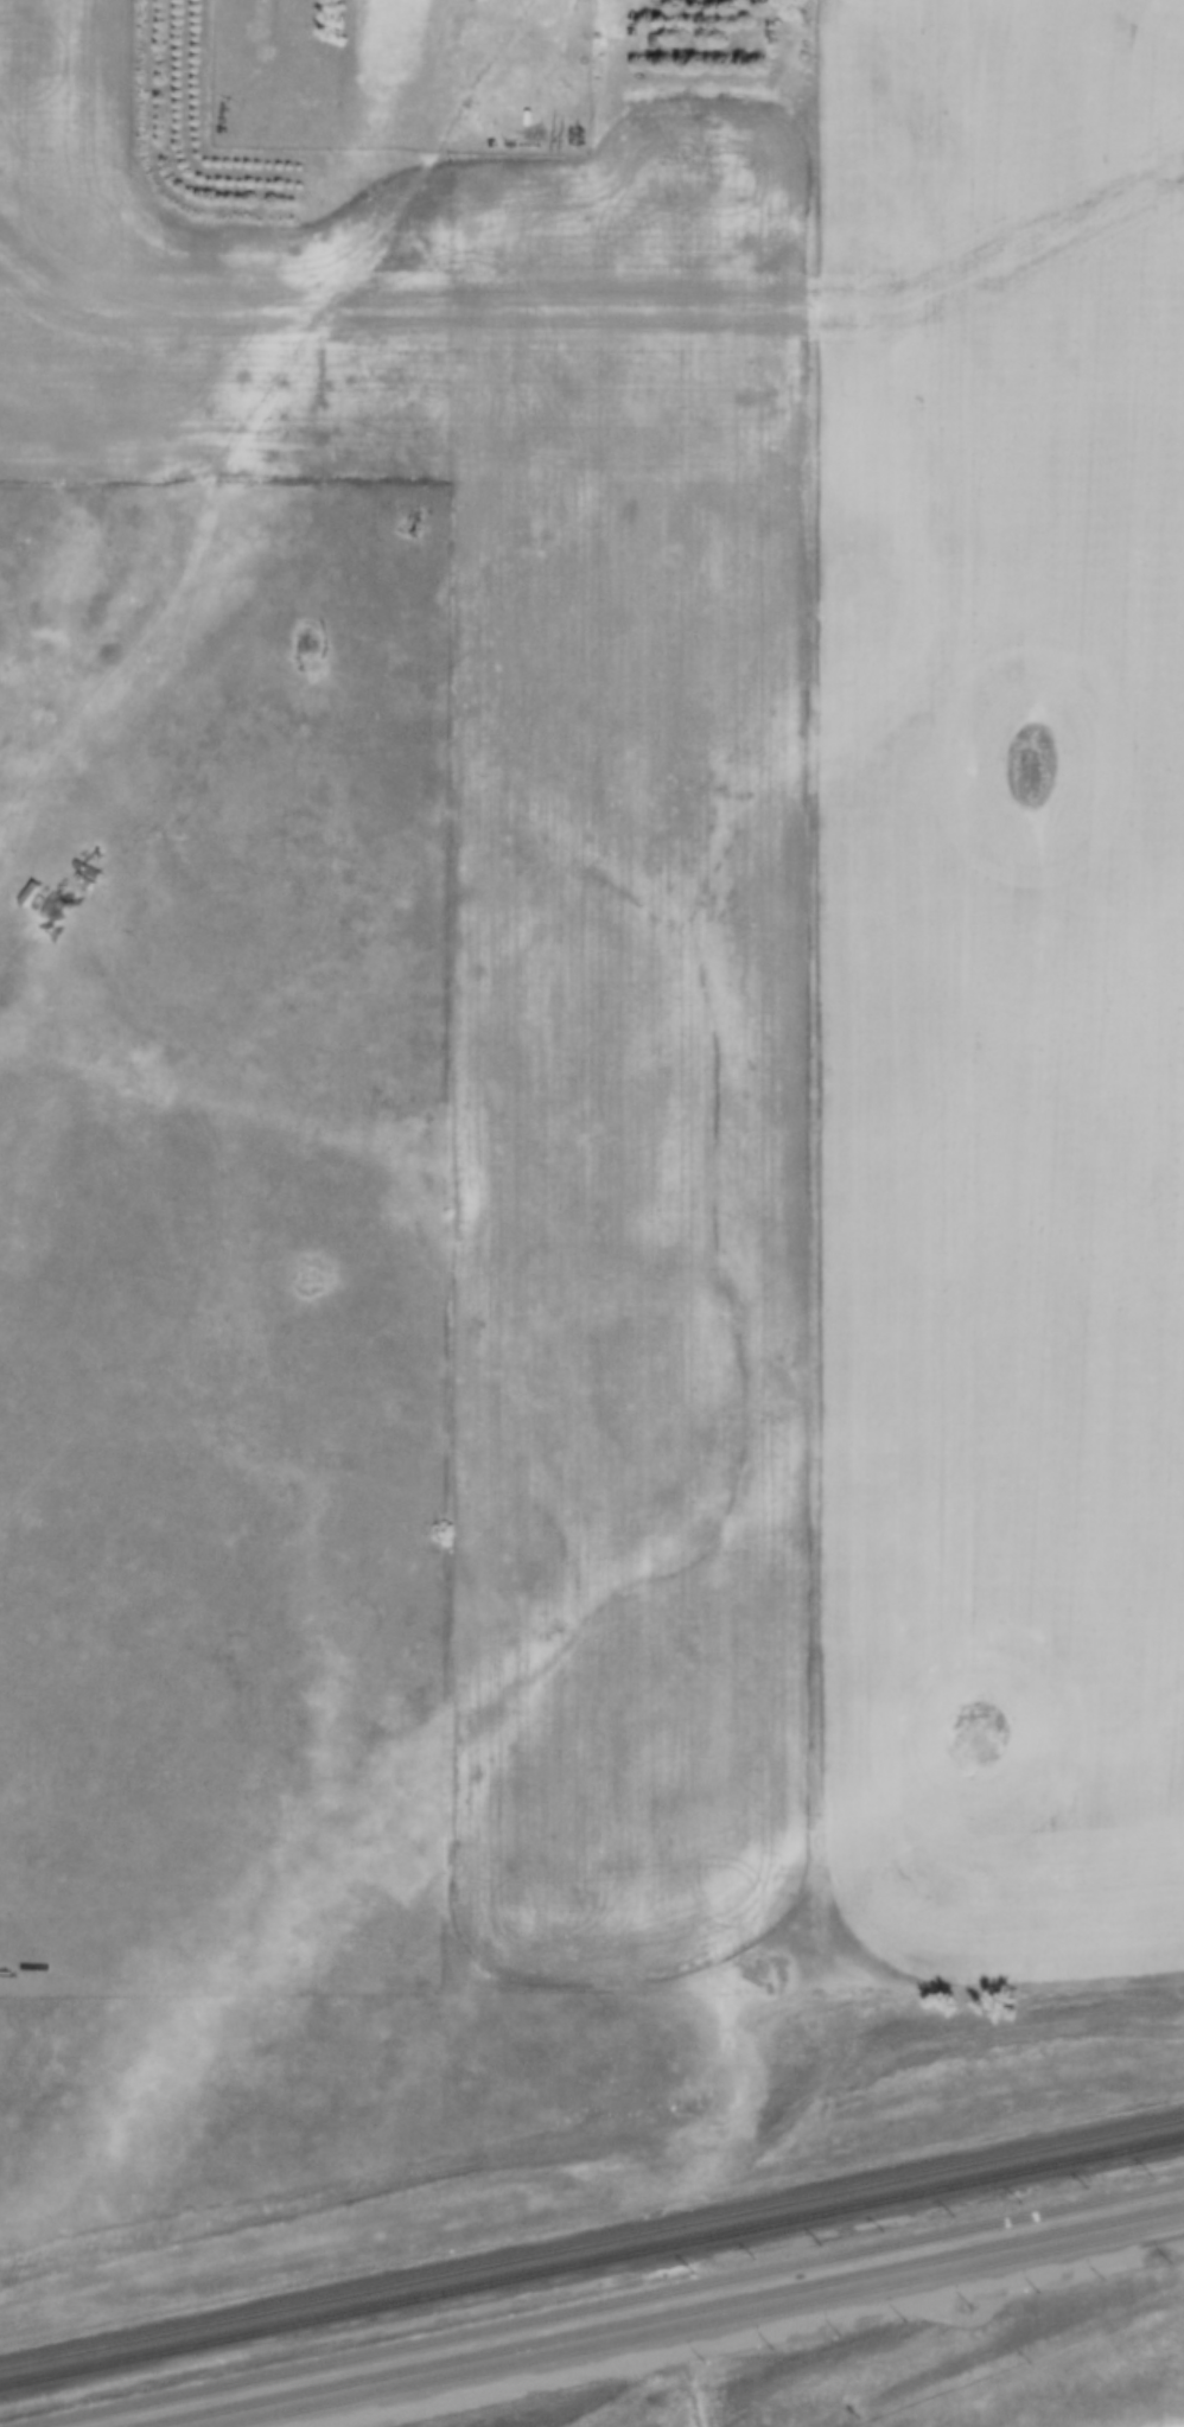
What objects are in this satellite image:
road: (406, 1051)
railway: (591, 2237)
railway: (592, 2260)
railway: (596, 2301)
railway: (645, 2314)
railway: (693, 2324)

